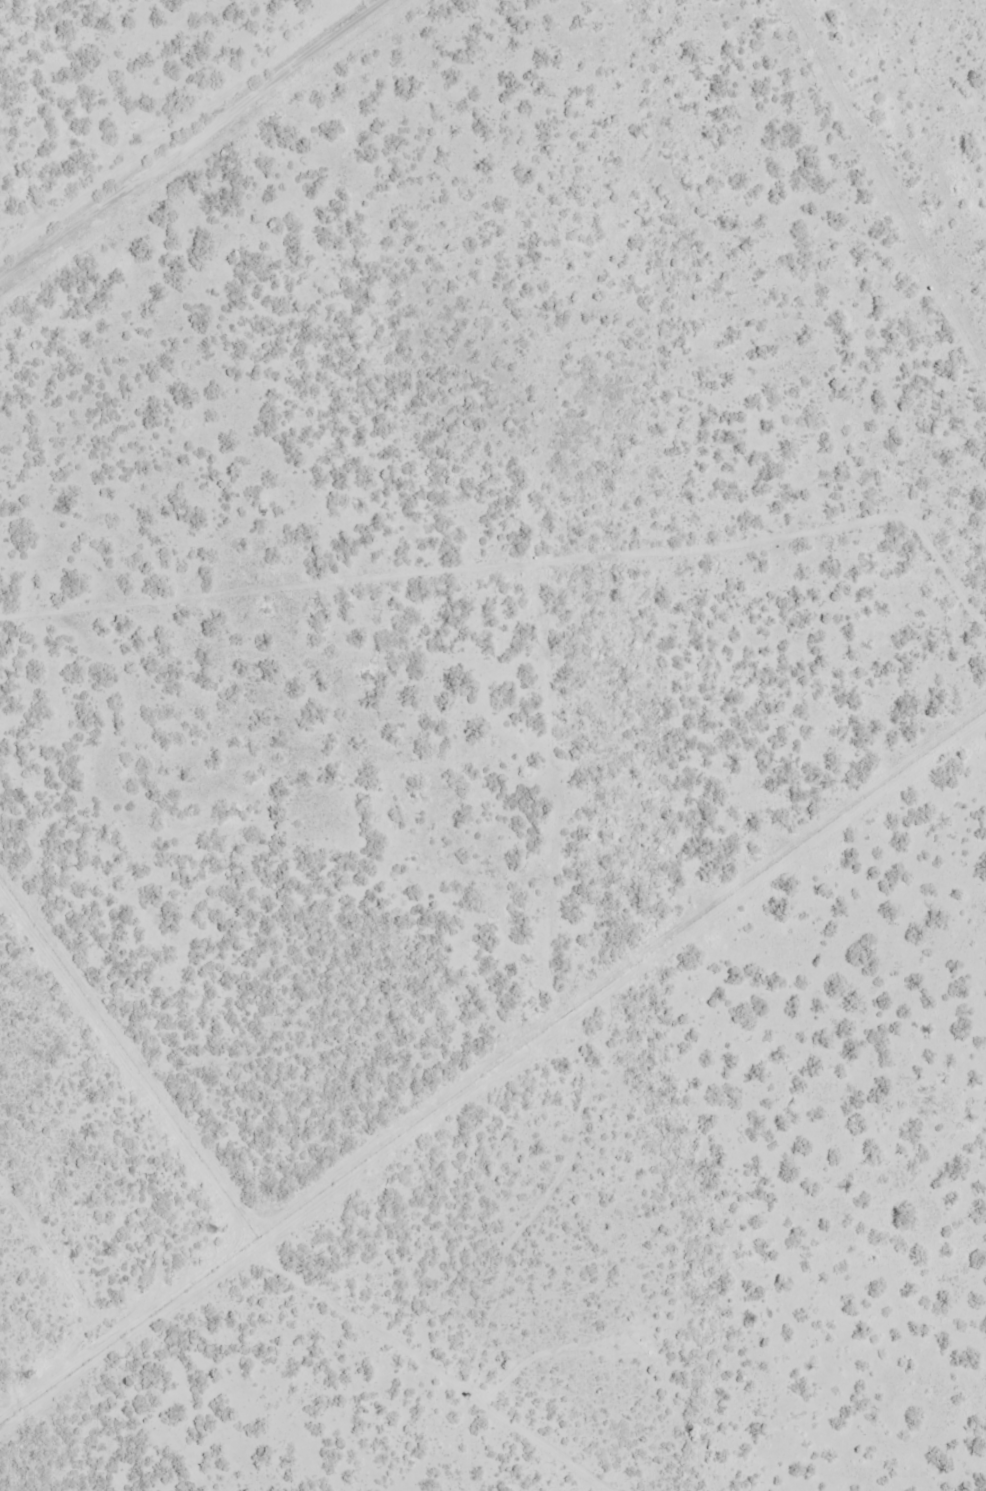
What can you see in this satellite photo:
road: (201, 145)
road: (567, 755)

